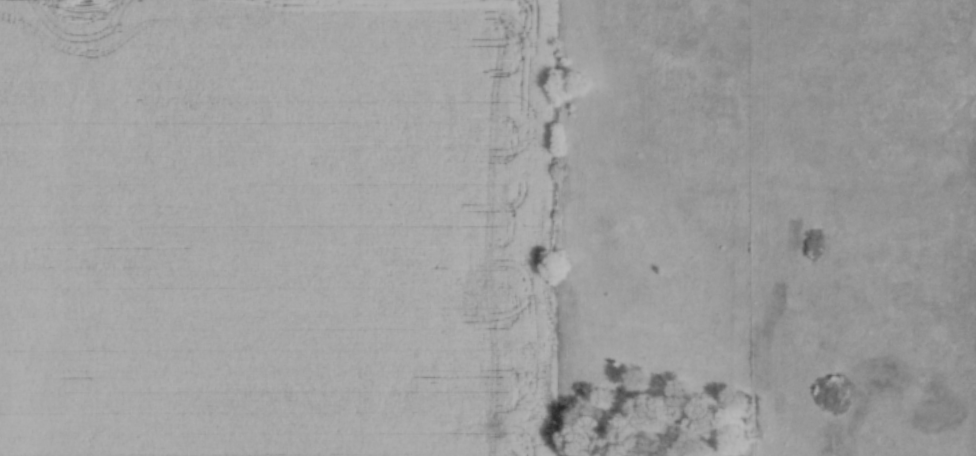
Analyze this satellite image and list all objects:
airport: (380, 228)

